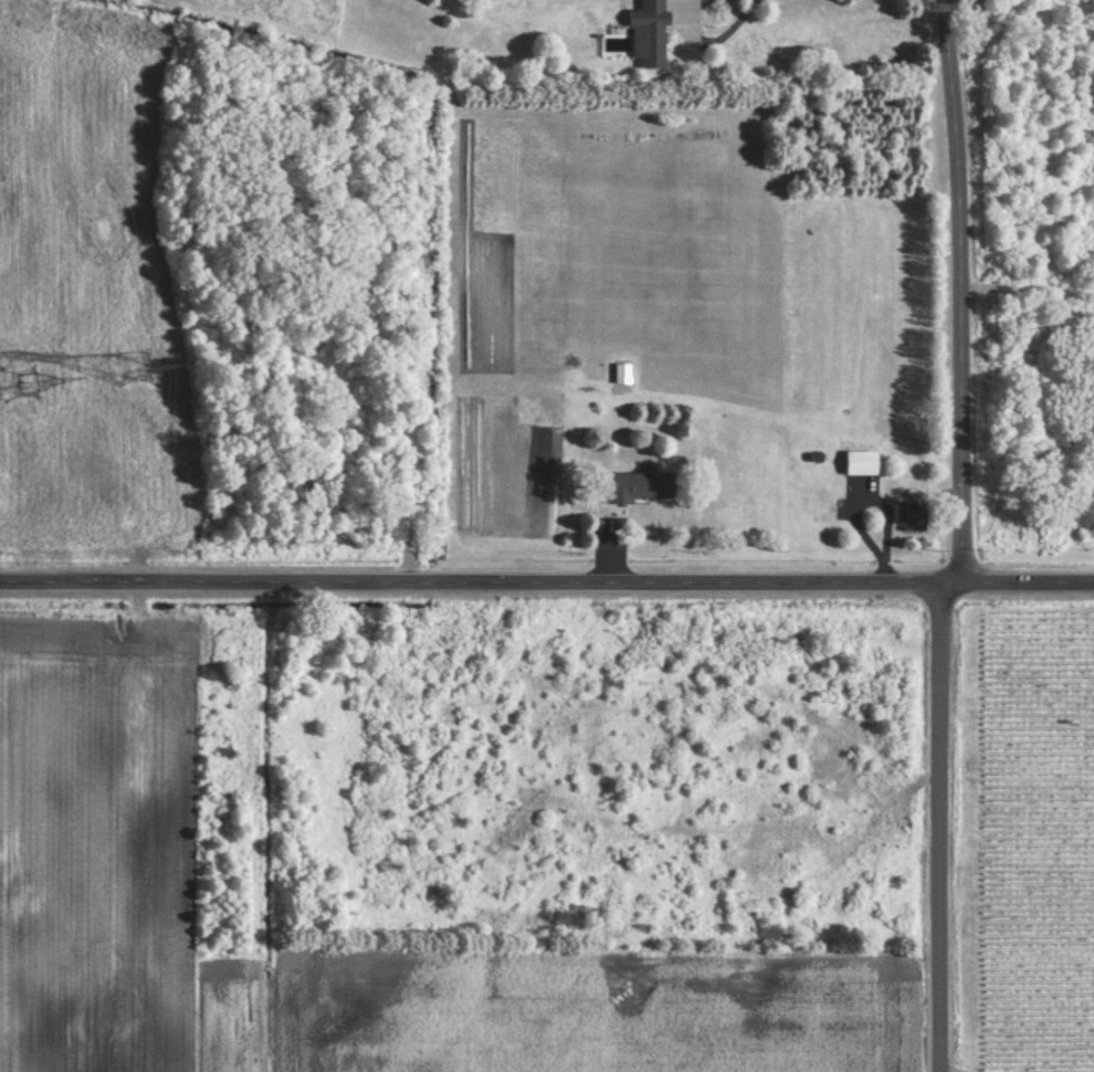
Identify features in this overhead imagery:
building: (650, 34)
power tower: (134, 364)
power tower: (19, 380)
building: (864, 461)
building: (642, 485)
building: (830, 503)
building: (914, 515)
road: (964, 538)
road: (546, 569)

